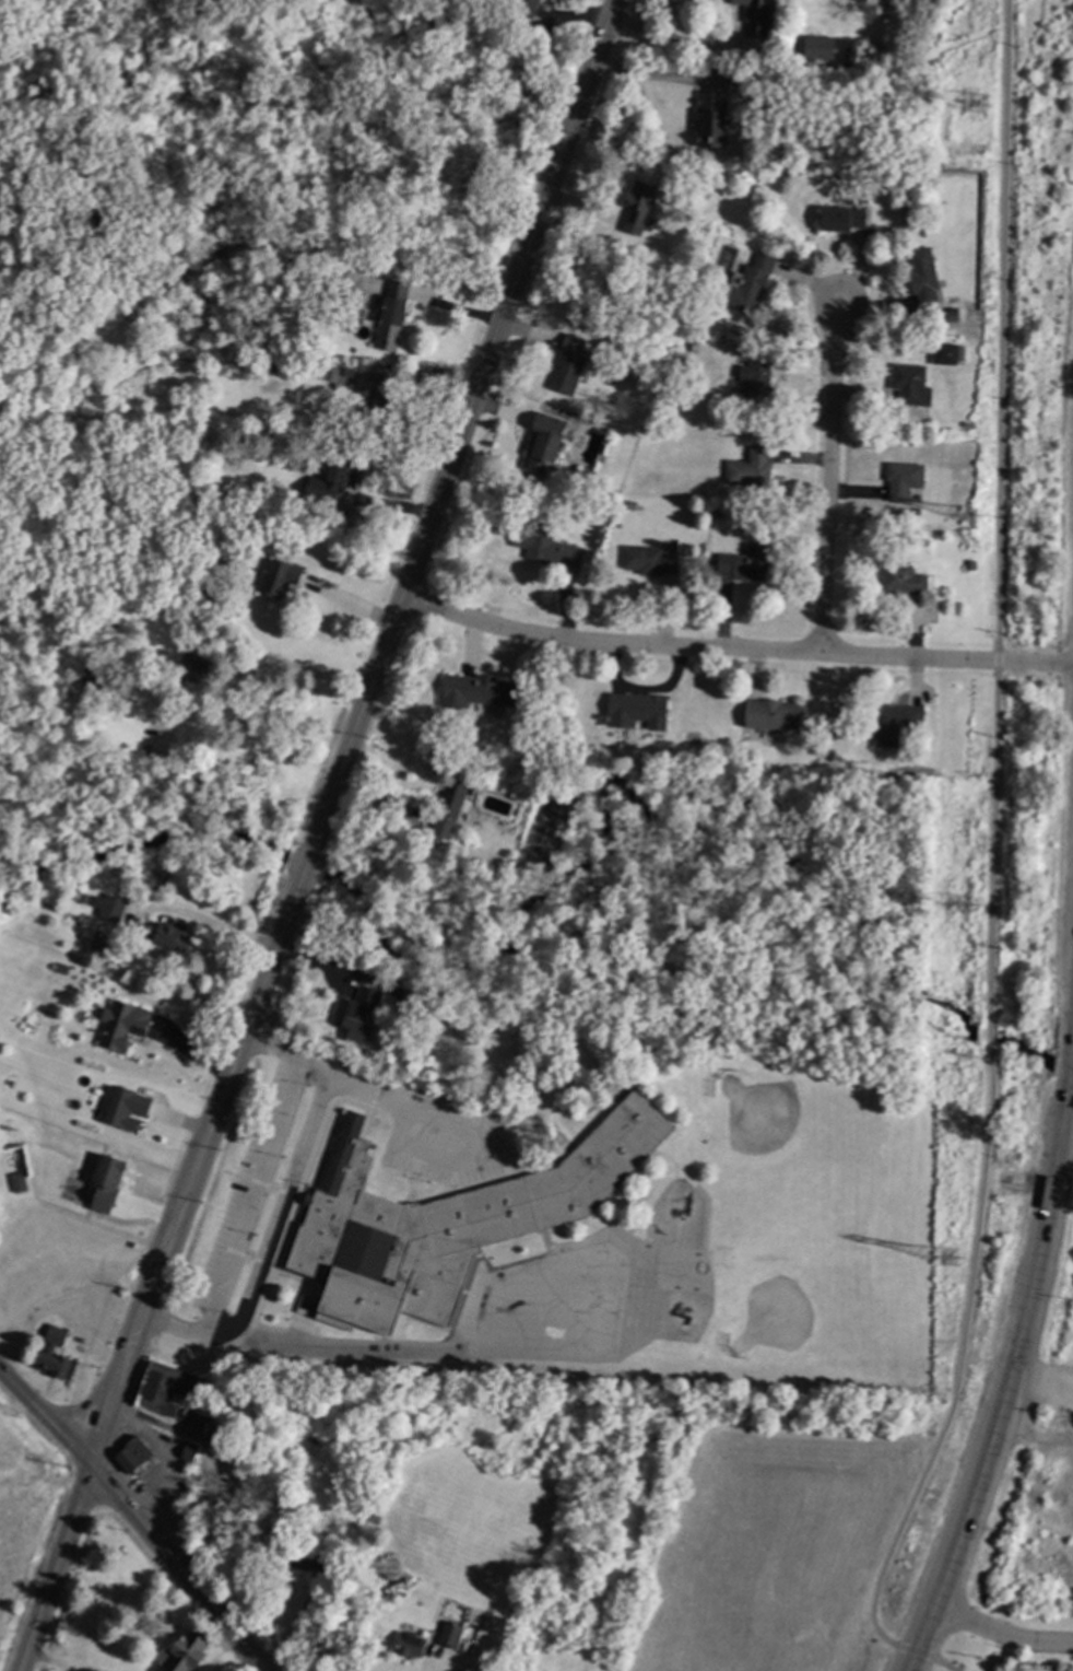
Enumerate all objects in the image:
building: (529, 7)
building: (760, 15)
building: (817, 48)
road: (736, 68)
building: (751, 80)
power tower: (980, 105)
building: (715, 119)
building: (757, 150)
building: (642, 209)
building: (847, 218)
building: (925, 277)
building: (260, 282)
building: (752, 284)
building: (349, 287)
building: (951, 316)
building: (393, 325)
building: (20, 326)
building: (687, 347)
building: (947, 354)
building: (571, 365)
building: (279, 369)
building: (760, 383)
building: (911, 384)
building: (378, 399)
road: (464, 422)
building: (969, 425)
building: (550, 441)
building: (753, 468)
building: (335, 479)
road: (830, 479)
building: (907, 481)
building: (224, 502)
building: (634, 504)
power tower: (971, 517)
building: (249, 525)
building: (550, 546)
building: (651, 560)
building: (748, 563)
building: (974, 565)
building: (280, 576)
building: (905, 580)
road: (734, 650)
building: (201, 668)
road: (282, 690)
building: (481, 691)
building: (640, 711)
building: (775, 714)
building: (898, 723)
building: (129, 763)
building: (452, 807)
road: (309, 864)
road: (992, 869)
building: (87, 898)
building: (113, 907)
power tower: (966, 909)
road: (207, 924)
building: (174, 937)
building: (104, 943)
building: (418, 998)
building: (359, 1015)
building: (126, 1026)
road: (1071, 1043)
road: (275, 1047)
road: (318, 1064)
road: (1068, 1077)
building: (127, 1109)
road: (461, 1130)
building: (22, 1182)
building: (109, 1184)
road: (259, 1187)
road: (287, 1199)
building: (450, 1222)
park: (820, 1230)
power tower: (951, 1261)
road: (160, 1276)
road: (57, 1307)
road: (227, 1320)
road: (182, 1332)
road: (443, 1348)
road: (87, 1352)
building: (58, 1355)
road: (1006, 1384)
building: (173, 1388)
building: (220, 1432)
road: (74, 1434)
building: (192, 1451)
building: (137, 1454)
road: (131, 1517)
building: (378, 1519)
building: (307, 1559)
building: (614, 1631)
building: (452, 1634)
road: (1003, 1635)
building: (414, 1646)
building: (609, 1647)
building: (188, 1651)
road: (217, 1656)
road: (52, 1661)

